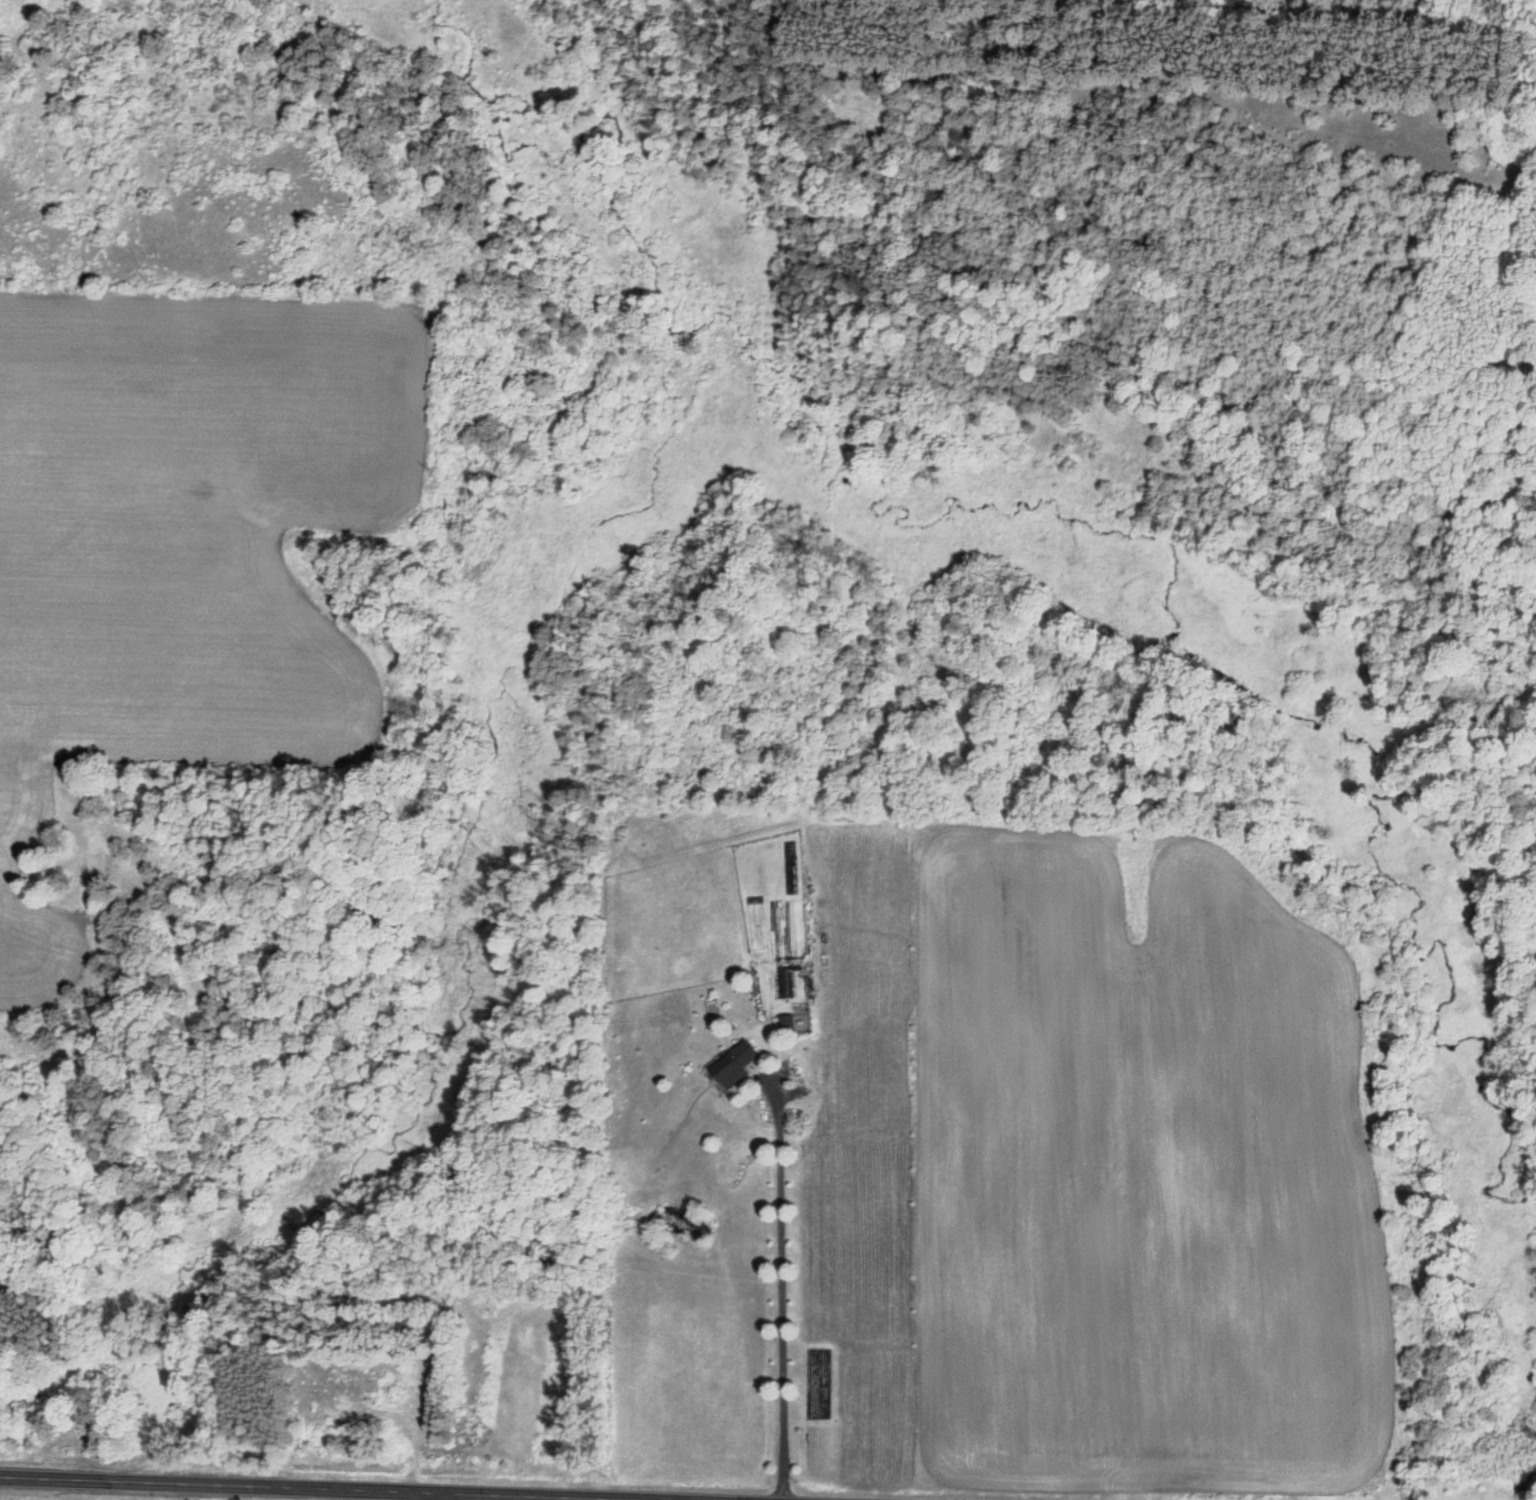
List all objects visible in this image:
building: (786, 1024)
building: (730, 1066)
road: (337, 1485)

